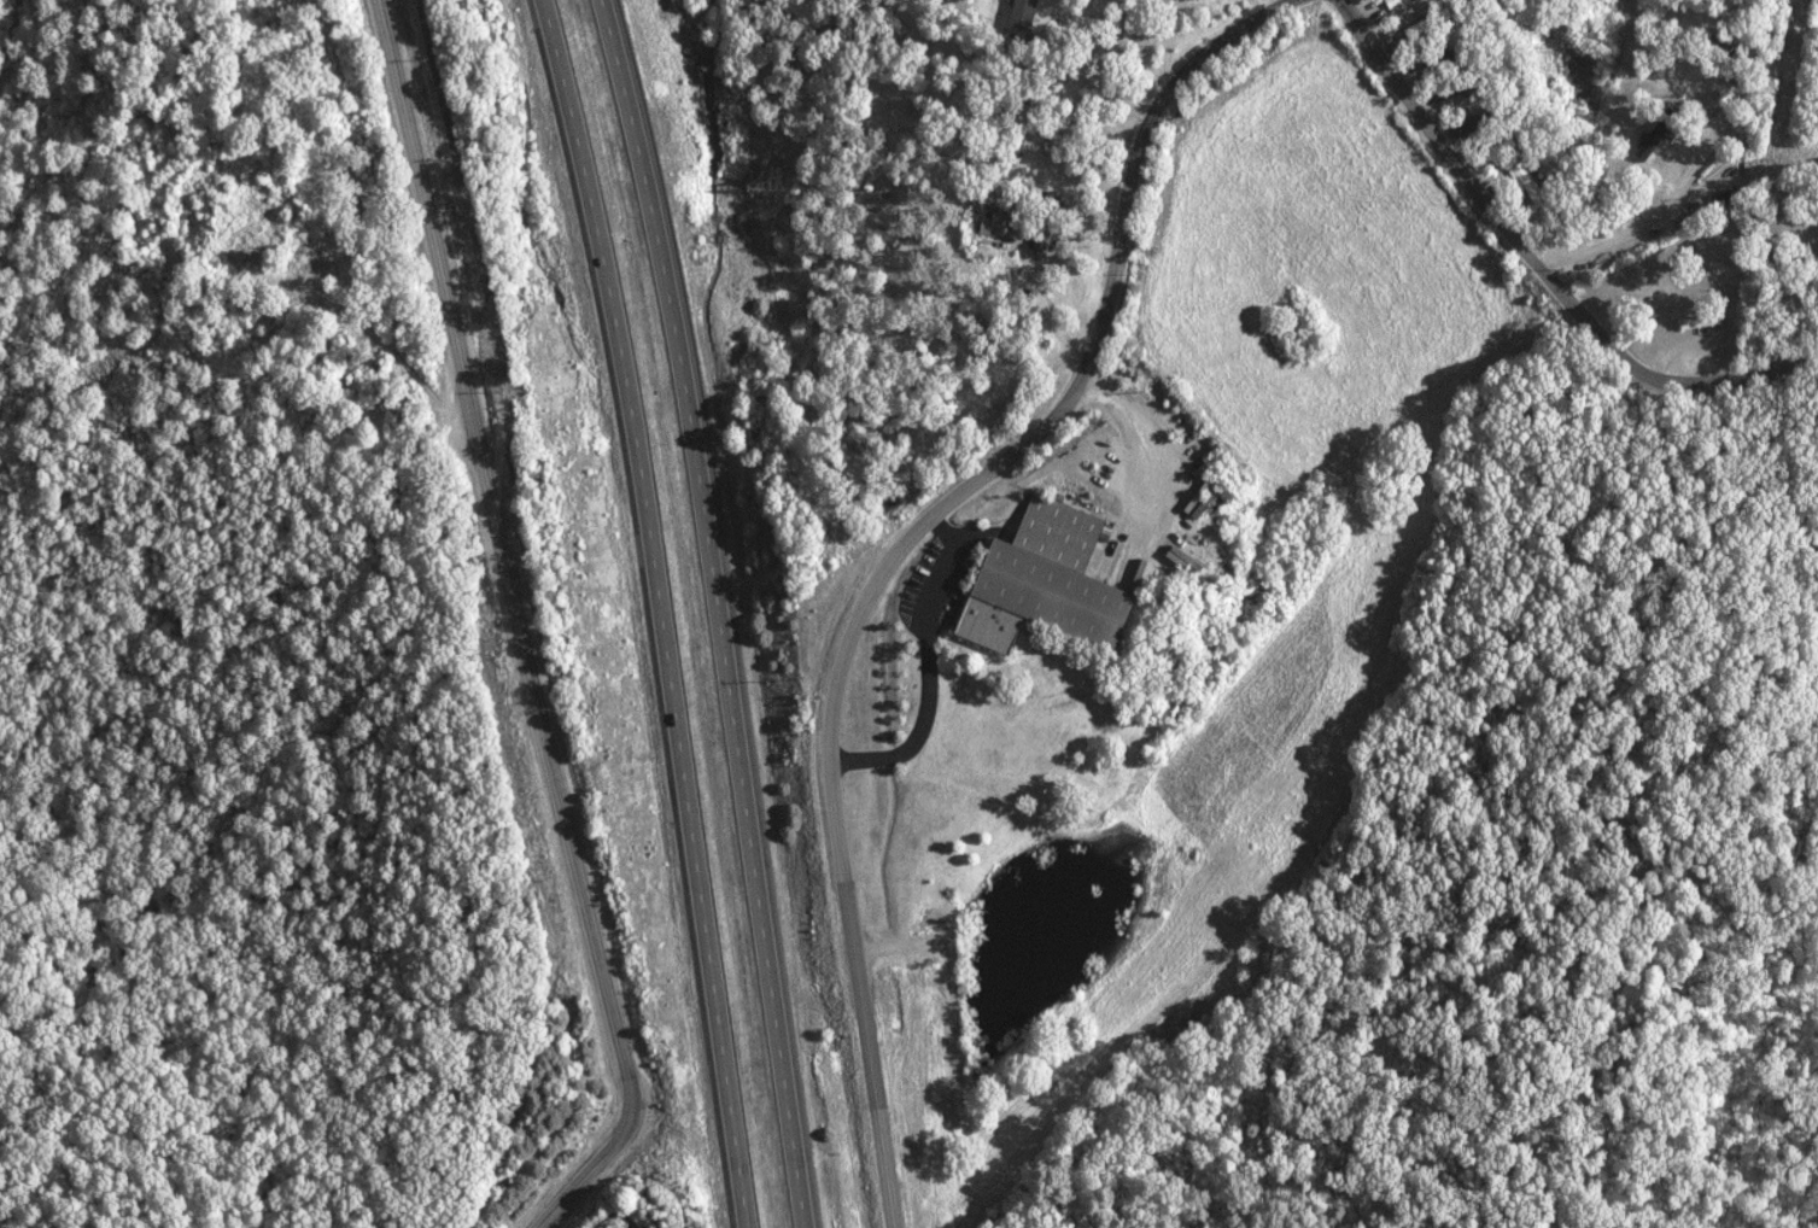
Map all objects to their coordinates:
road: (1285, 1)
building: (1395, 1)
building: (1025, 13)
road: (1163, 46)
building: (1656, 134)
road: (1649, 217)
road: (902, 226)
building: (988, 226)
building: (1044, 236)
road: (1541, 263)
building: (1701, 320)
road: (898, 544)
road: (502, 574)
building: (1052, 580)
road: (665, 610)
road: (703, 612)
road: (931, 671)
road: (572, 1187)
road: (618, 1214)
park: (613, 1216)

